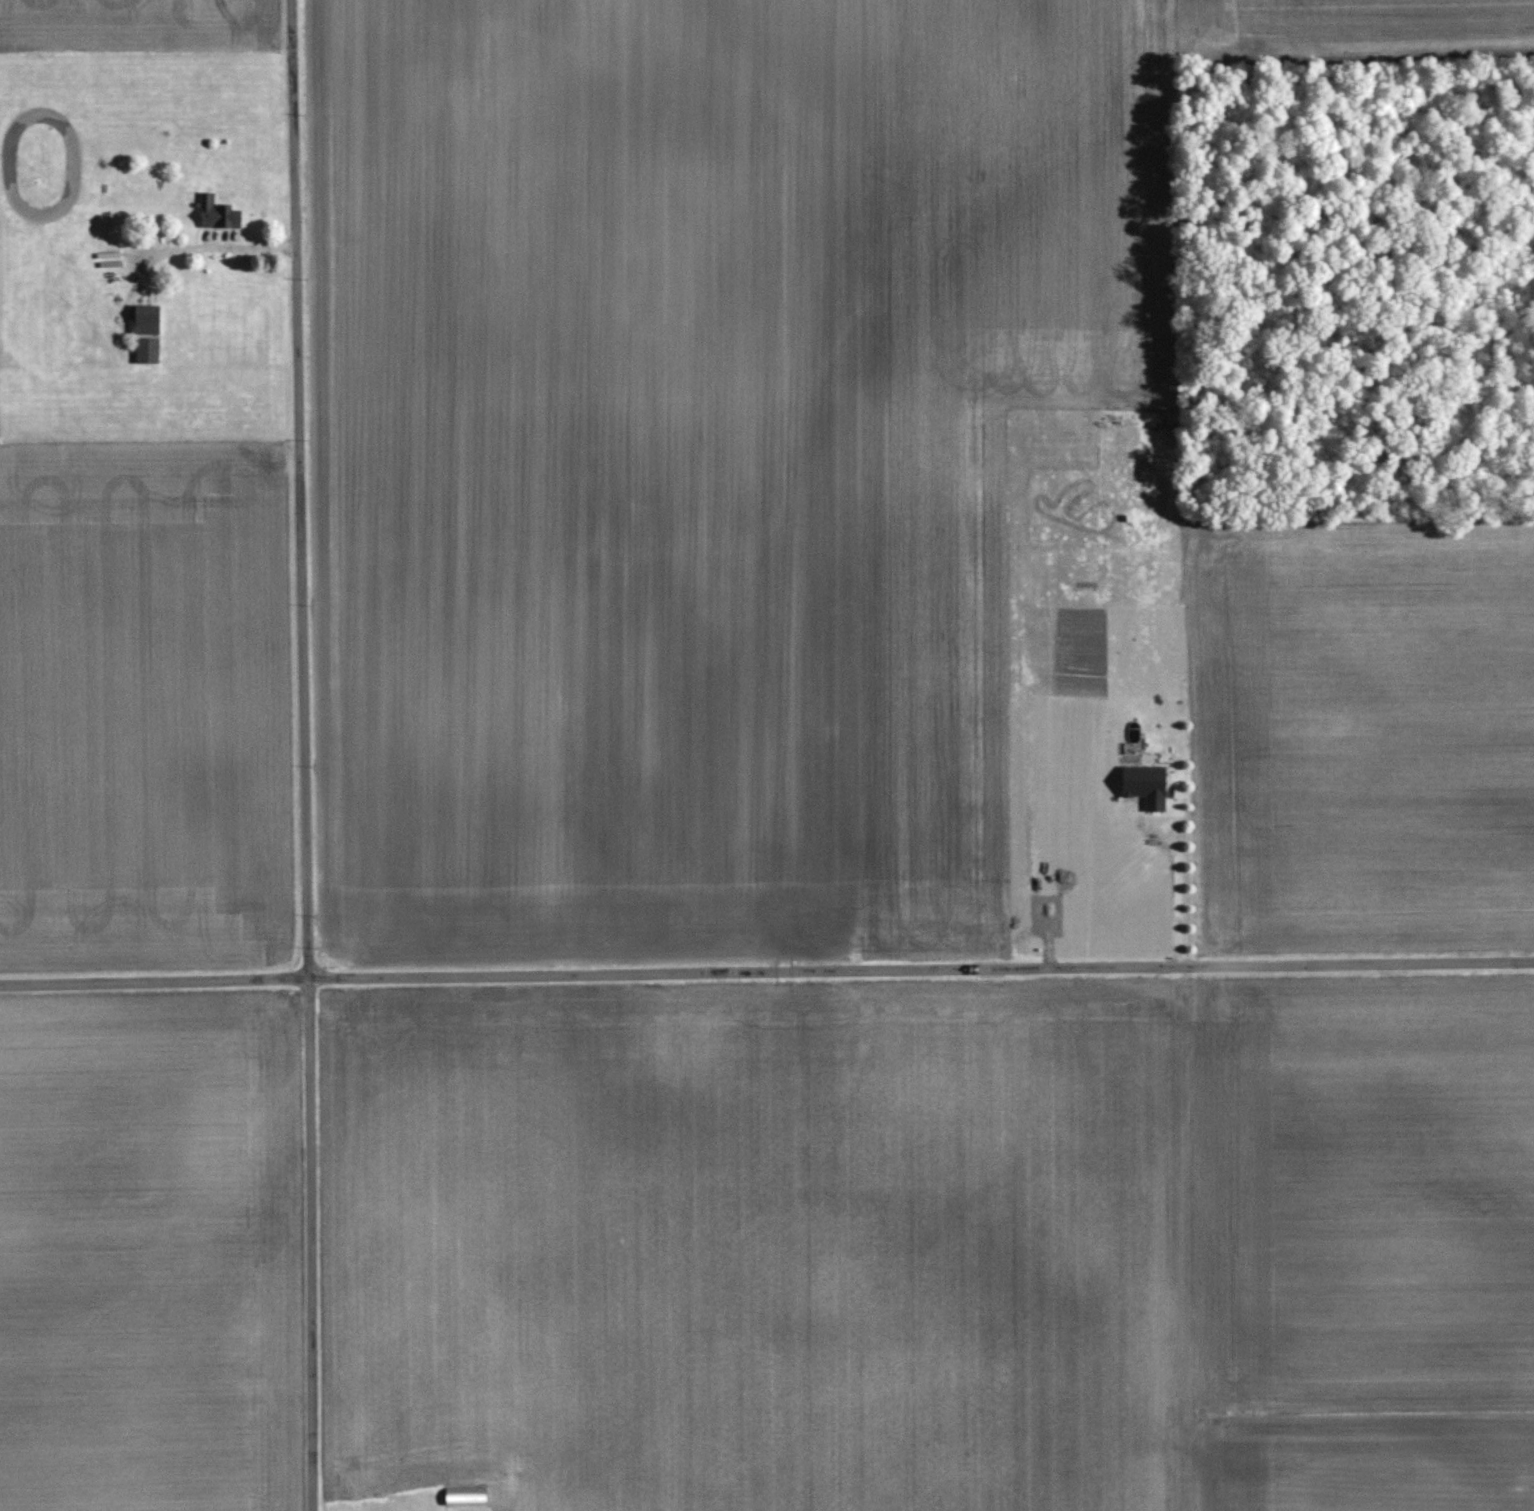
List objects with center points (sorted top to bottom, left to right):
building: (218, 215)
road: (305, 755)
building: (1144, 785)
road: (1178, 872)
road: (766, 970)
building: (464, 1496)

